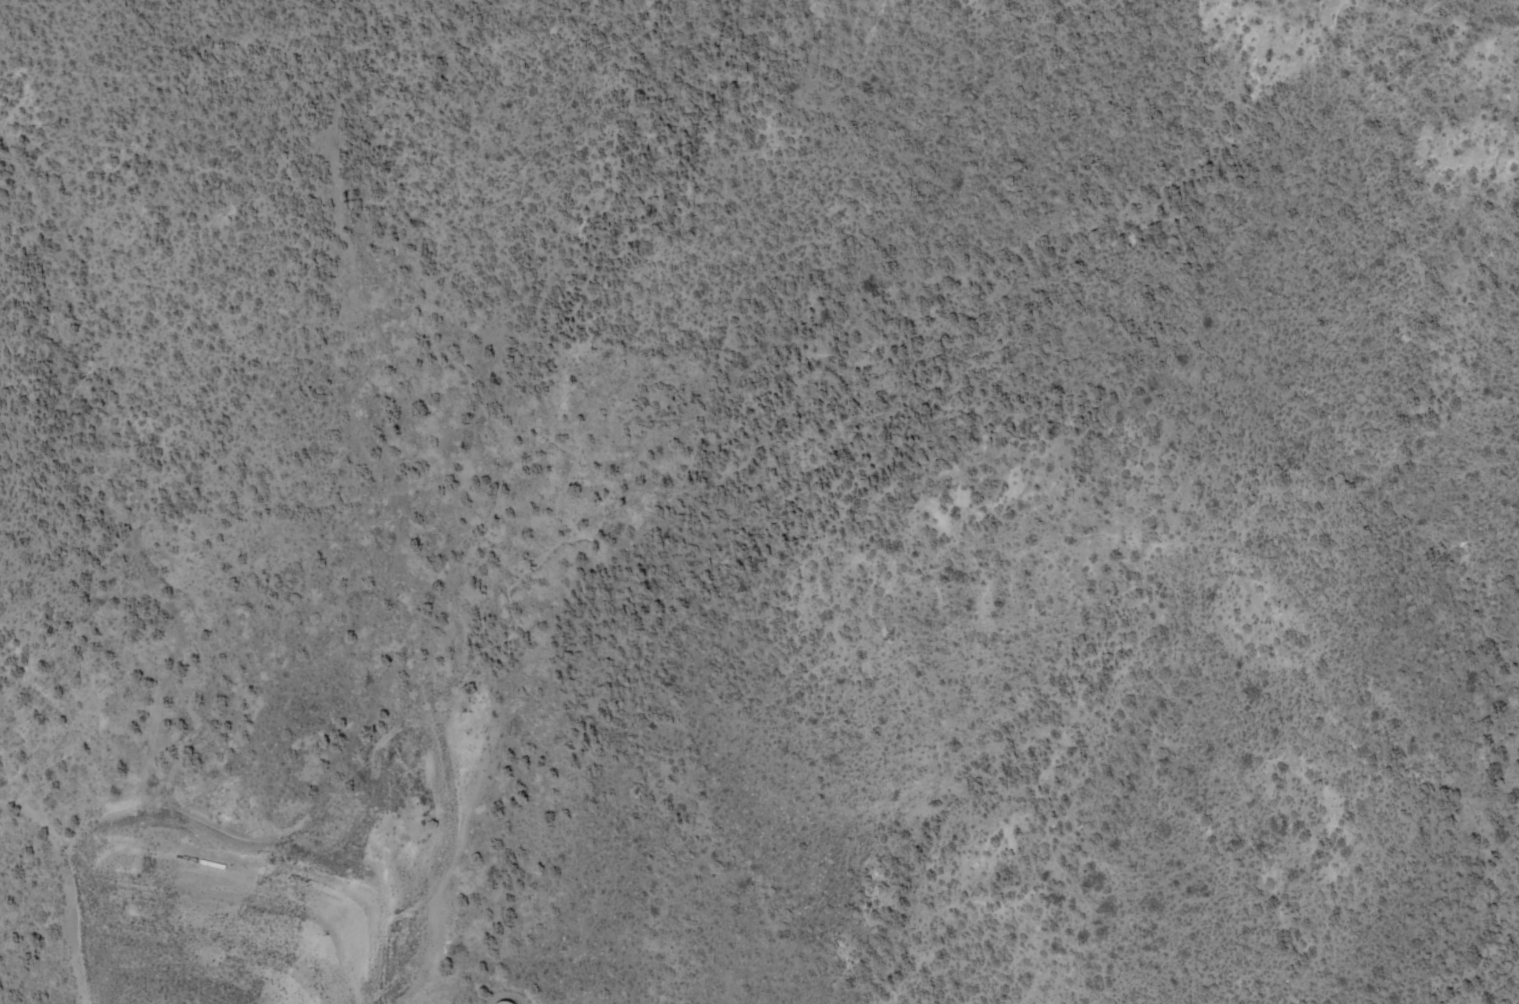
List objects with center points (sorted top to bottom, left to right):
building: (507, 1002)
storage tank: (507, 1002)

